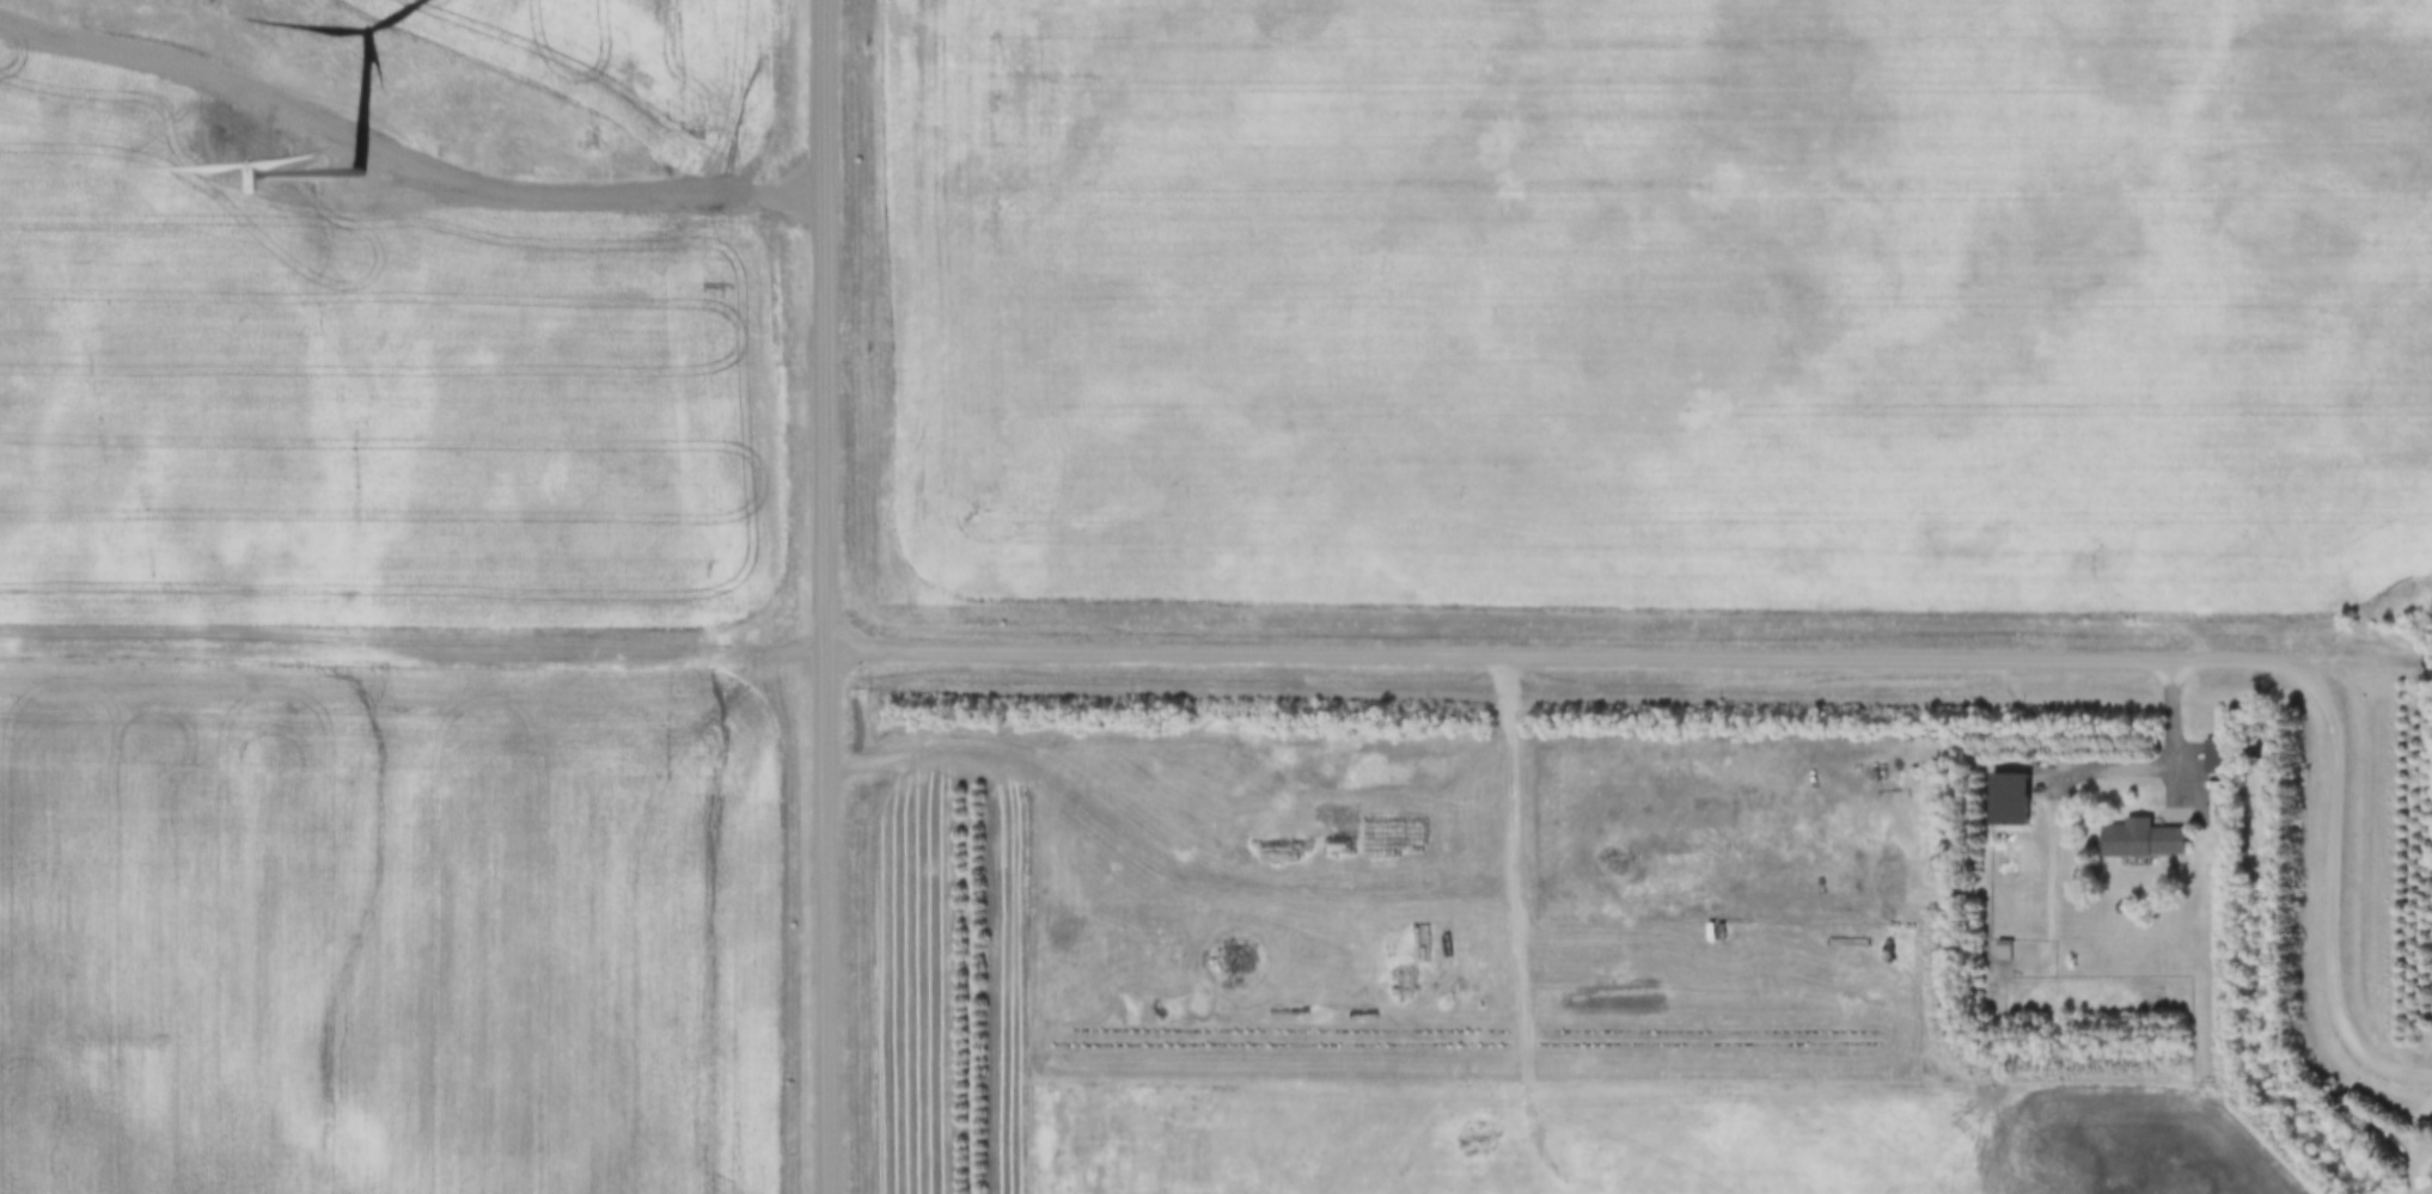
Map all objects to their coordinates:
wind turbine: (360, 177)
road: (826, 596)
road: (414, 629)
road: (1575, 656)
road: (2175, 741)
building: (2225, 758)
building: (2019, 797)
building: (2152, 840)
road: (2332, 908)
road: (2408, 1144)

